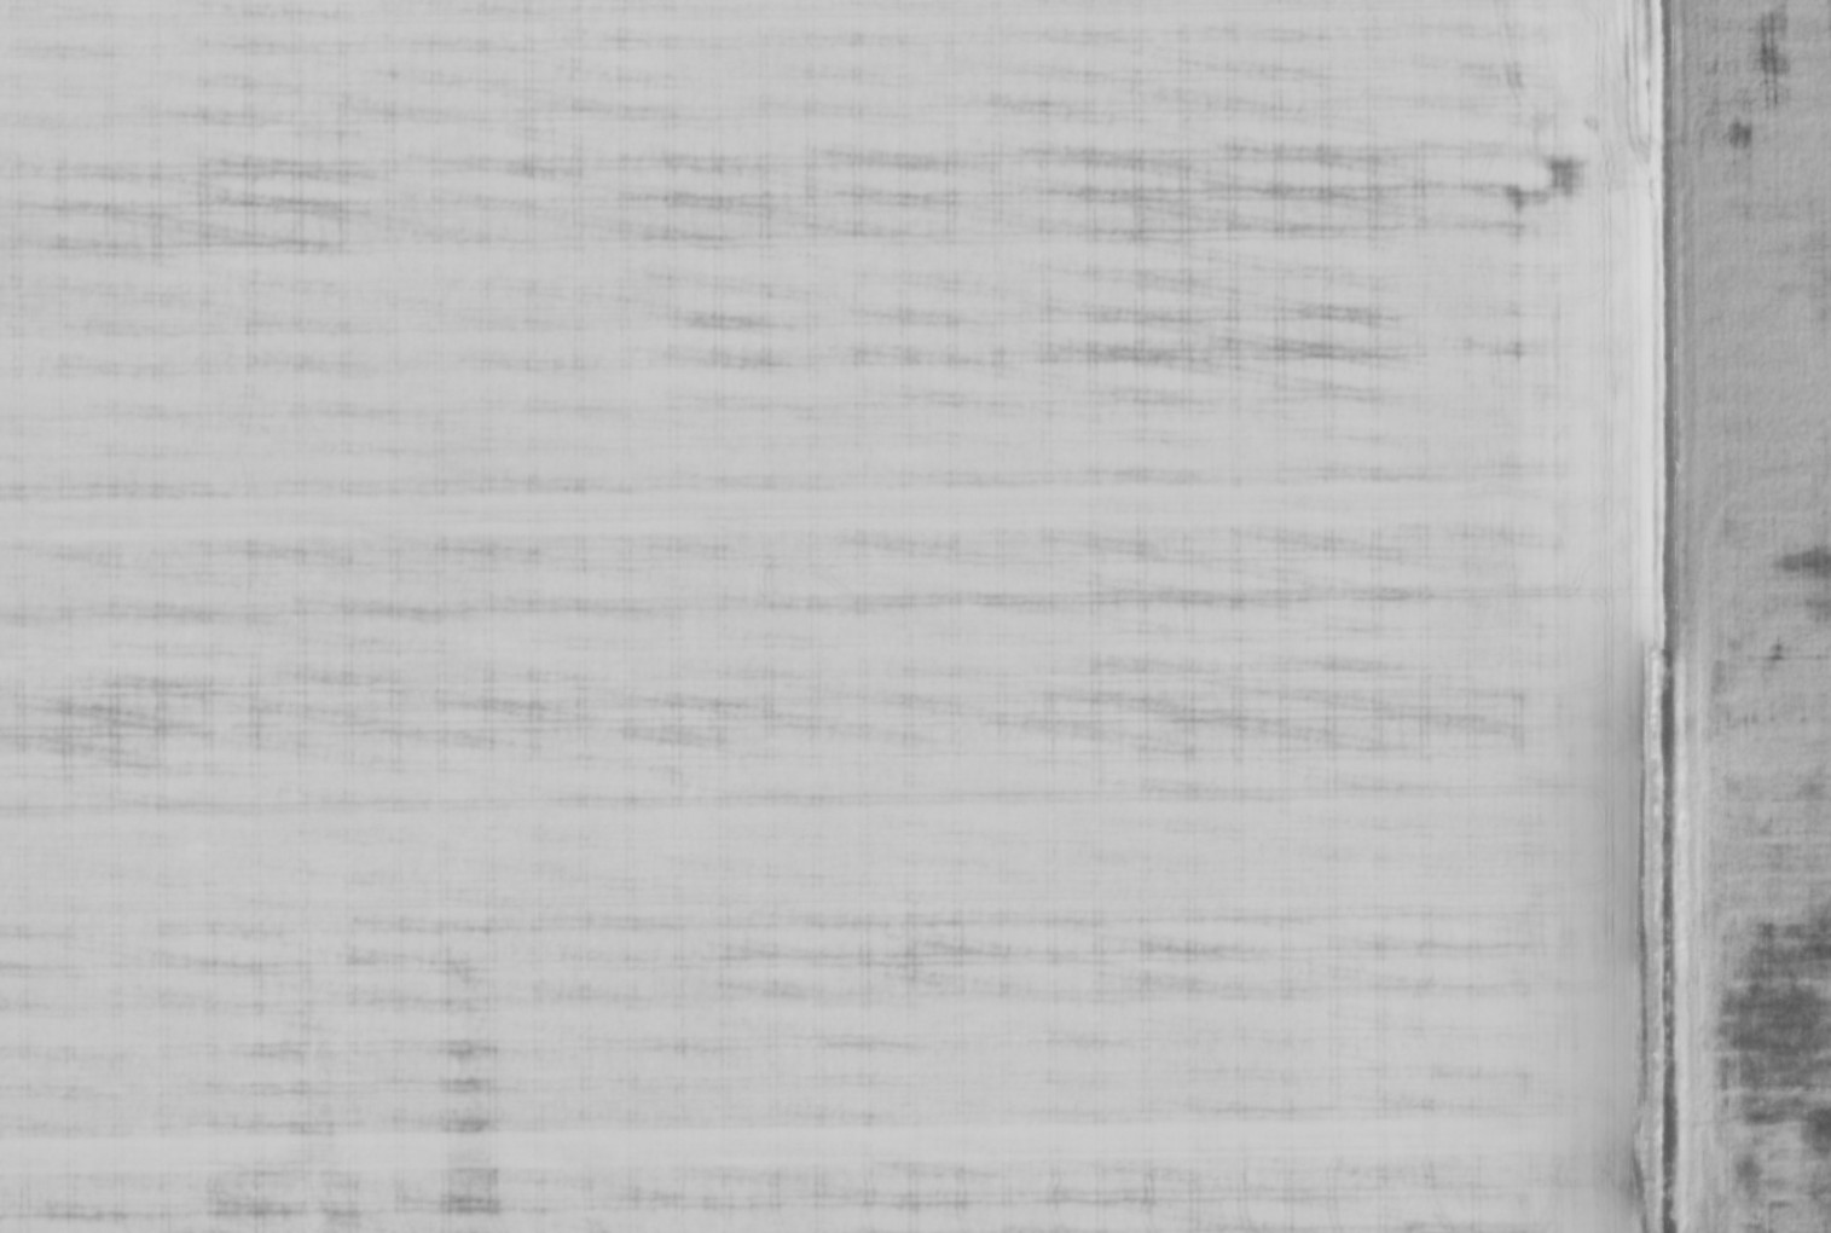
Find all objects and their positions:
road: (1675, 615)

